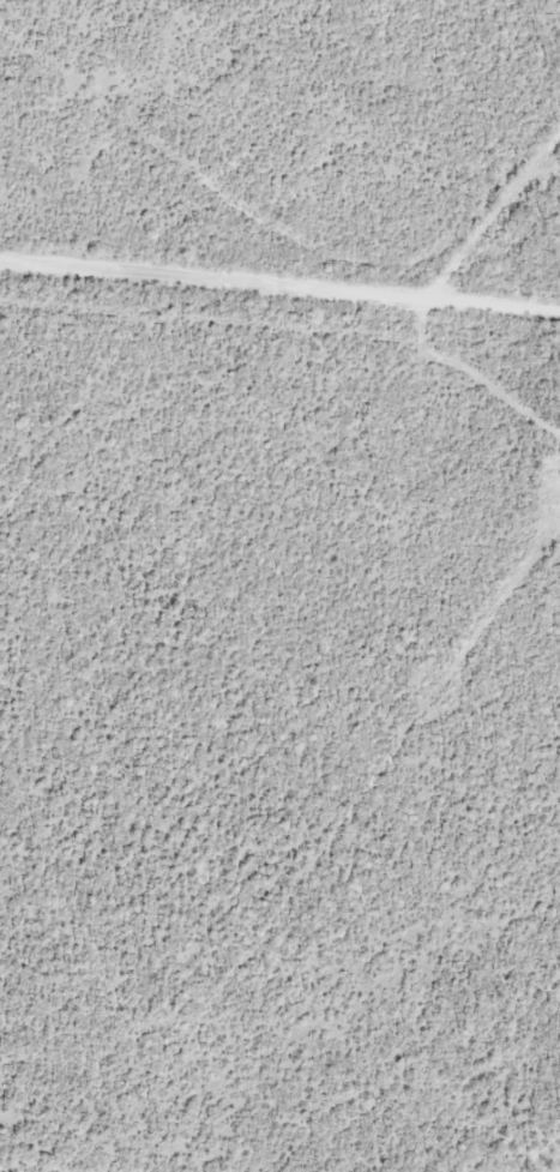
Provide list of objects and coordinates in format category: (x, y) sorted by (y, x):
road: (279, 300)

